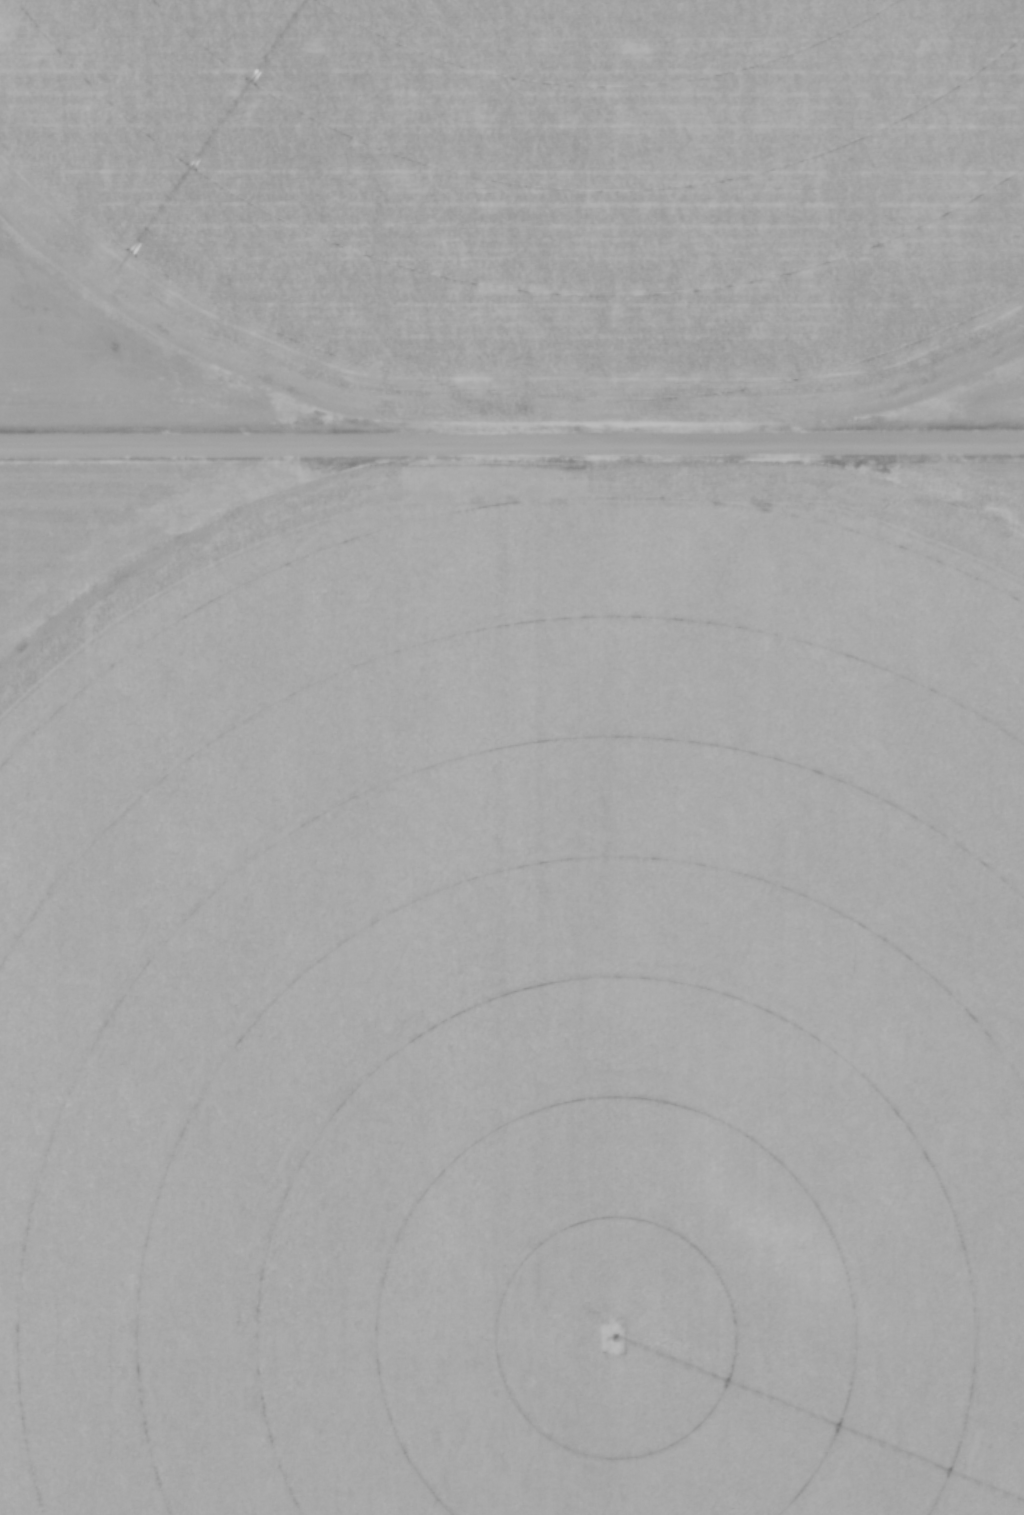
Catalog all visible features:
road: (511, 447)

